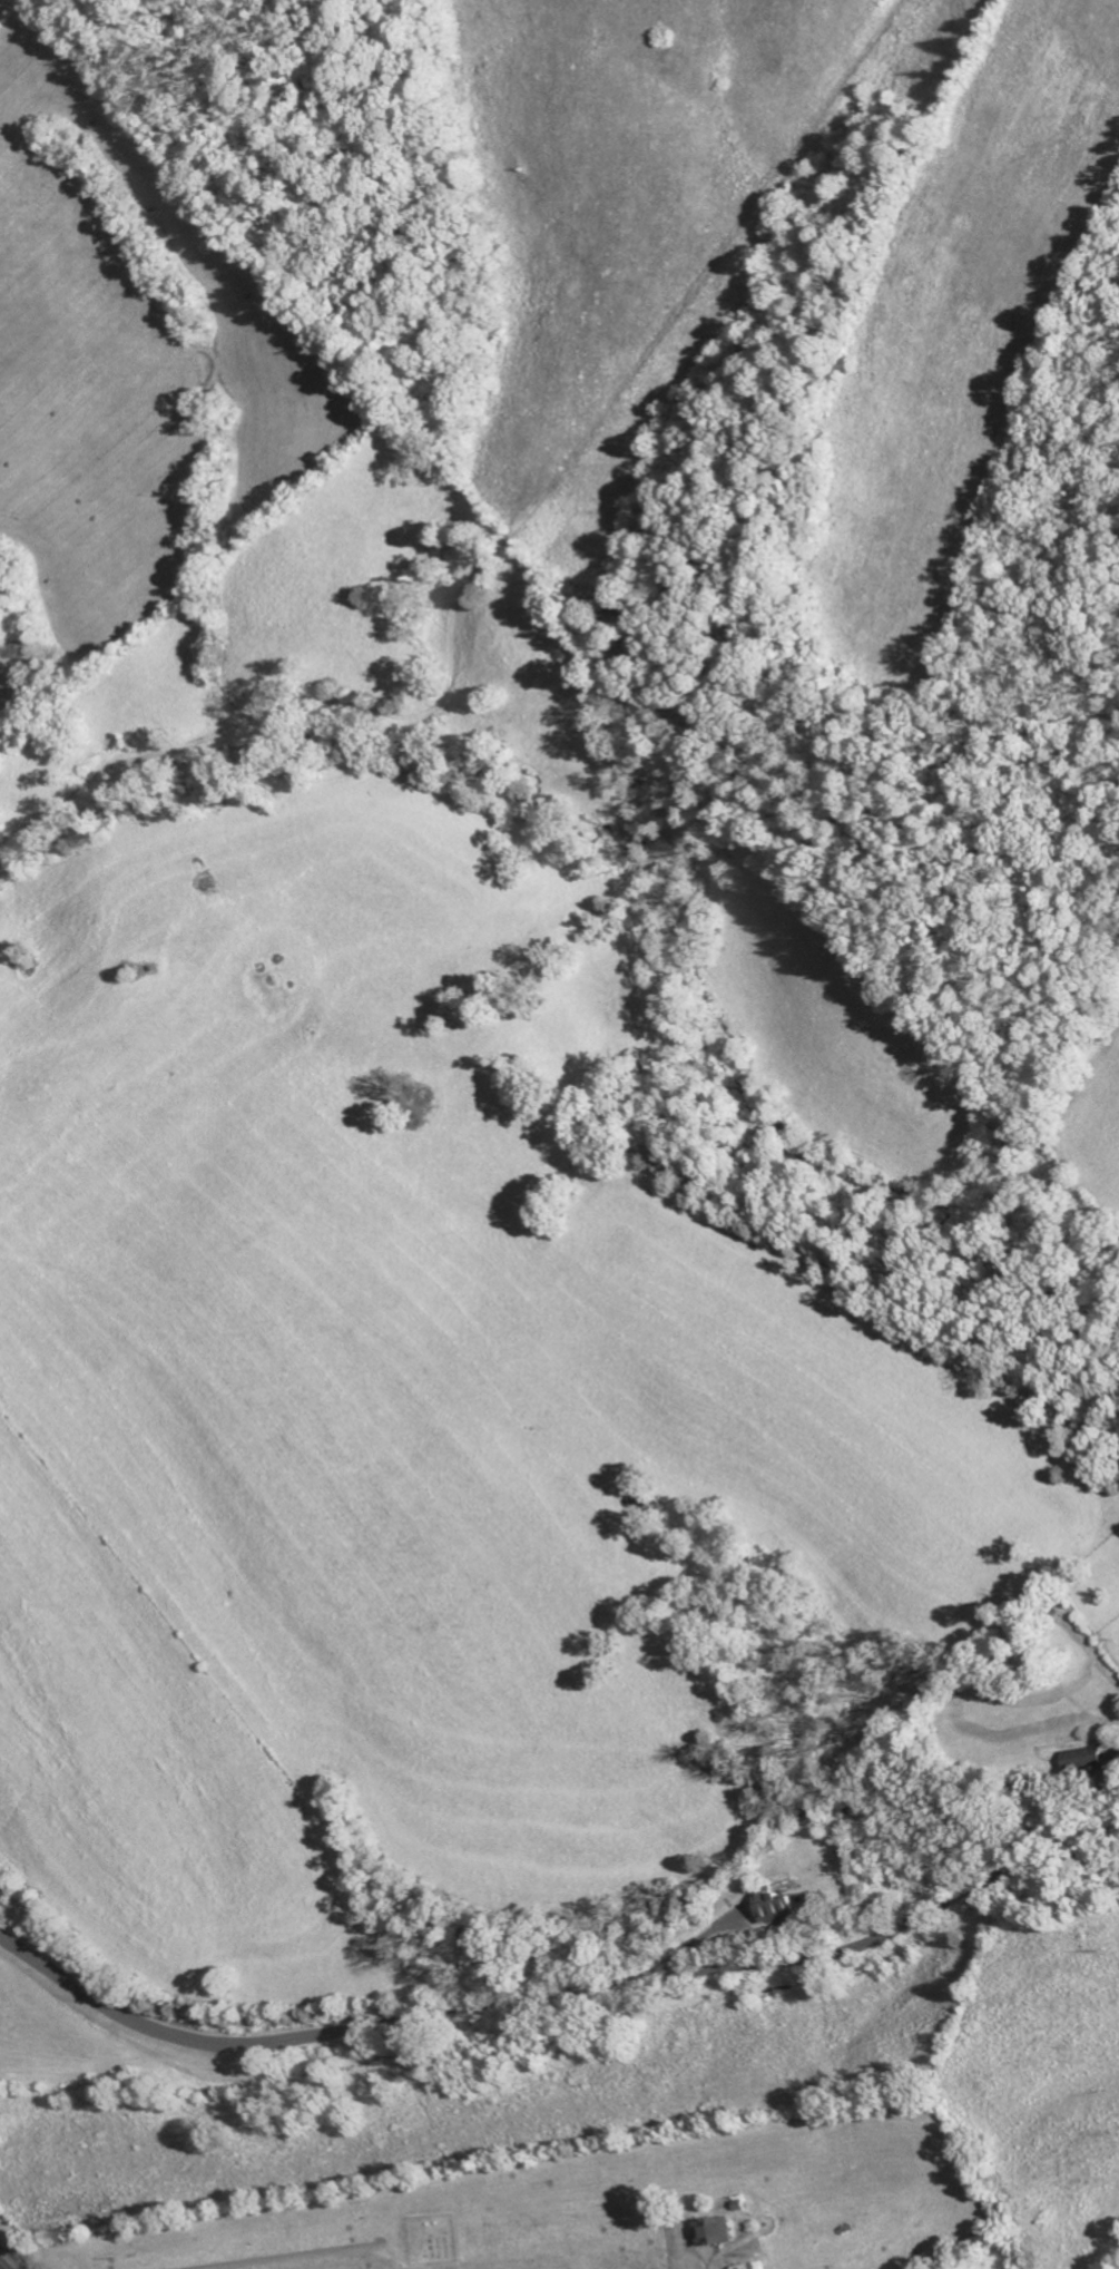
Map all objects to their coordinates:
building: (1092, 1759)
building: (784, 1907)
road: (554, 1996)
building: (720, 2231)
building: (747, 2267)

